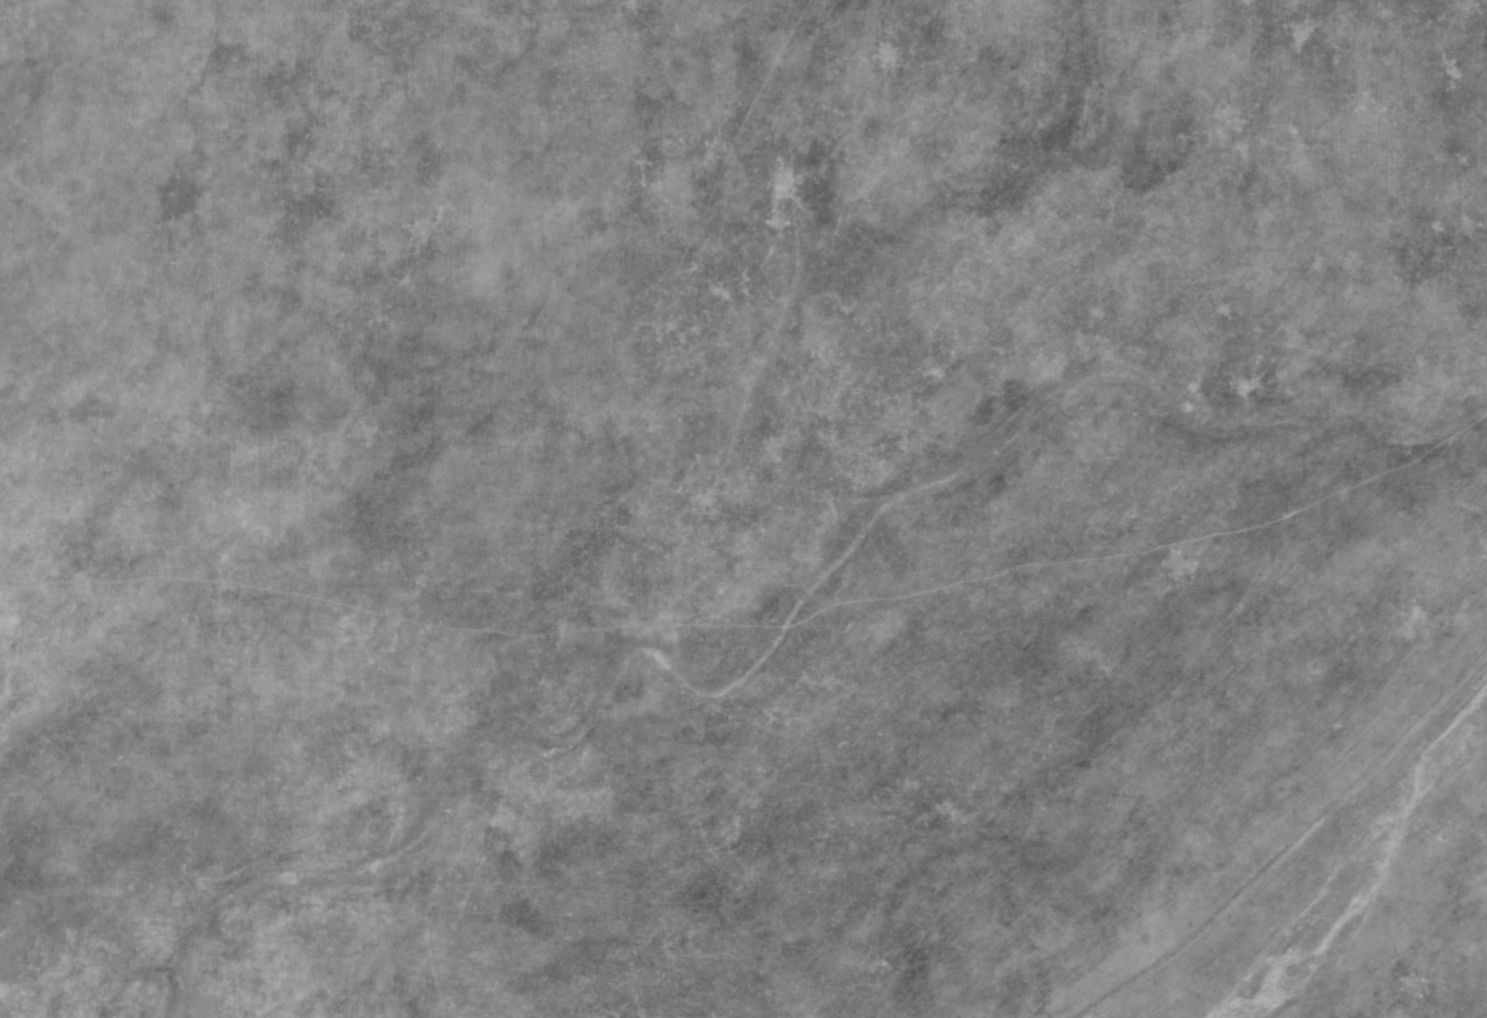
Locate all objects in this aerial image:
road: (1294, 845)

